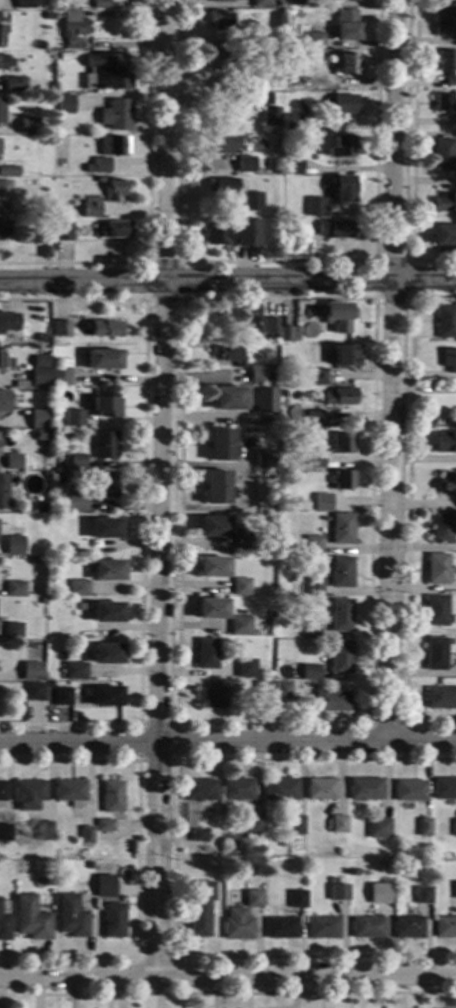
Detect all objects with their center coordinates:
building: (351, 0)
building: (222, 1)
building: (297, 3)
building: (25, 4)
building: (102, 4)
building: (262, 4)
building: (51, 16)
building: (221, 21)
building: (446, 22)
building: (348, 26)
building: (75, 29)
building: (2, 34)
building: (244, 41)
building: (317, 41)
building: (60, 50)
building: (223, 61)
building: (5, 63)
building: (349, 64)
building: (448, 65)
building: (110, 72)
building: (262, 79)
building: (25, 81)
building: (12, 84)
building: (261, 99)
building: (445, 102)
building: (65, 104)
building: (344, 105)
building: (1, 113)
building: (117, 115)
building: (271, 116)
building: (293, 122)
building: (28, 126)
building: (221, 144)
building: (115, 147)
building: (341, 147)
road: (414, 152)
building: (444, 155)
building: (245, 164)
building: (102, 165)
building: (293, 165)
building: (272, 167)
building: (89, 169)
building: (9, 171)
building: (100, 180)
building: (226, 185)
building: (5, 188)
building: (343, 188)
building: (116, 190)
building: (252, 202)
building: (446, 203)
road: (147, 204)
building: (316, 207)
building: (92, 208)
building: (337, 229)
building: (4, 230)
building: (116, 230)
building: (65, 232)
building: (225, 234)
building: (444, 235)
building: (45, 250)
road: (278, 262)
road: (228, 280)
road: (375, 297)
road: (181, 299)
road: (183, 299)
building: (250, 316)
building: (339, 317)
building: (446, 322)
building: (8, 323)
building: (270, 327)
building: (62, 329)
building: (104, 329)
building: (287, 334)
building: (297, 339)
building: (231, 355)
building: (348, 356)
building: (104, 359)
building: (450, 360)
building: (4, 362)
building: (40, 371)
road: (393, 371)
building: (260, 375)
building: (60, 376)
building: (320, 376)
building: (282, 394)
building: (341, 397)
building: (230, 399)
building: (266, 400)
building: (3, 402)
building: (106, 407)
building: (315, 416)
building: (74, 418)
building: (39, 419)
building: (41, 435)
building: (445, 443)
building: (343, 444)
building: (105, 445)
building: (221, 446)
building: (263, 459)
building: (315, 461)
building: (13, 462)
building: (77, 463)
building: (301, 465)
building: (343, 481)
building: (447, 482)
building: (105, 485)
road: (163, 488)
building: (216, 488)
building: (3, 491)
building: (76, 503)
building: (328, 503)
road: (142, 508)
road: (407, 514)
building: (50, 518)
building: (214, 527)
building: (343, 528)
building: (105, 529)
building: (442, 529)
building: (244, 544)
building: (313, 545)
building: (14, 546)
building: (270, 548)
building: (213, 567)
building: (437, 569)
building: (108, 570)
building: (342, 572)
building: (315, 586)
building: (241, 587)
building: (15, 588)
building: (79, 589)
building: (82, 607)
building: (212, 609)
building: (436, 611)
building: (108, 612)
building: (341, 615)
building: (240, 626)
building: (311, 630)
building: (12, 631)
building: (107, 654)
building: (207, 654)
building: (435, 654)
building: (341, 657)
building: (246, 668)
building: (32, 671)
building: (74, 672)
building: (310, 672)
building: (50, 686)
building: (261, 690)
building: (283, 690)
building: (34, 692)
building: (63, 697)
building: (107, 697)
building: (211, 698)
building: (441, 698)
building: (332, 702)
road: (403, 723)
road: (227, 743)
road: (175, 760)
building: (281, 789)
building: (322, 789)
building: (366, 789)
building: (444, 789)
building: (199, 790)
building: (237, 790)
building: (3, 791)
building: (410, 791)
building: (71, 792)
building: (29, 794)
building: (113, 797)
building: (254, 823)
building: (339, 824)
building: (297, 825)
building: (102, 826)
building: (424, 827)
building: (379, 828)
building: (454, 828)
building: (44, 831)
building: (6, 833)
building: (85, 835)
building: (199, 836)
road: (137, 857)
road: (173, 860)
building: (86, 865)
building: (383, 866)
building: (100, 887)
building: (455, 890)
building: (334, 893)
building: (376, 894)
building: (423, 896)
building: (253, 899)
building: (297, 899)
building: (201, 910)
building: (71, 917)
building: (32, 919)
building: (91, 920)
building: (114, 921)
building: (4, 922)
building: (237, 925)
building: (407, 927)
building: (445, 927)
building: (280, 928)
building: (322, 928)
building: (367, 928)
road: (136, 957)
road: (227, 976)
road: (228, 994)

